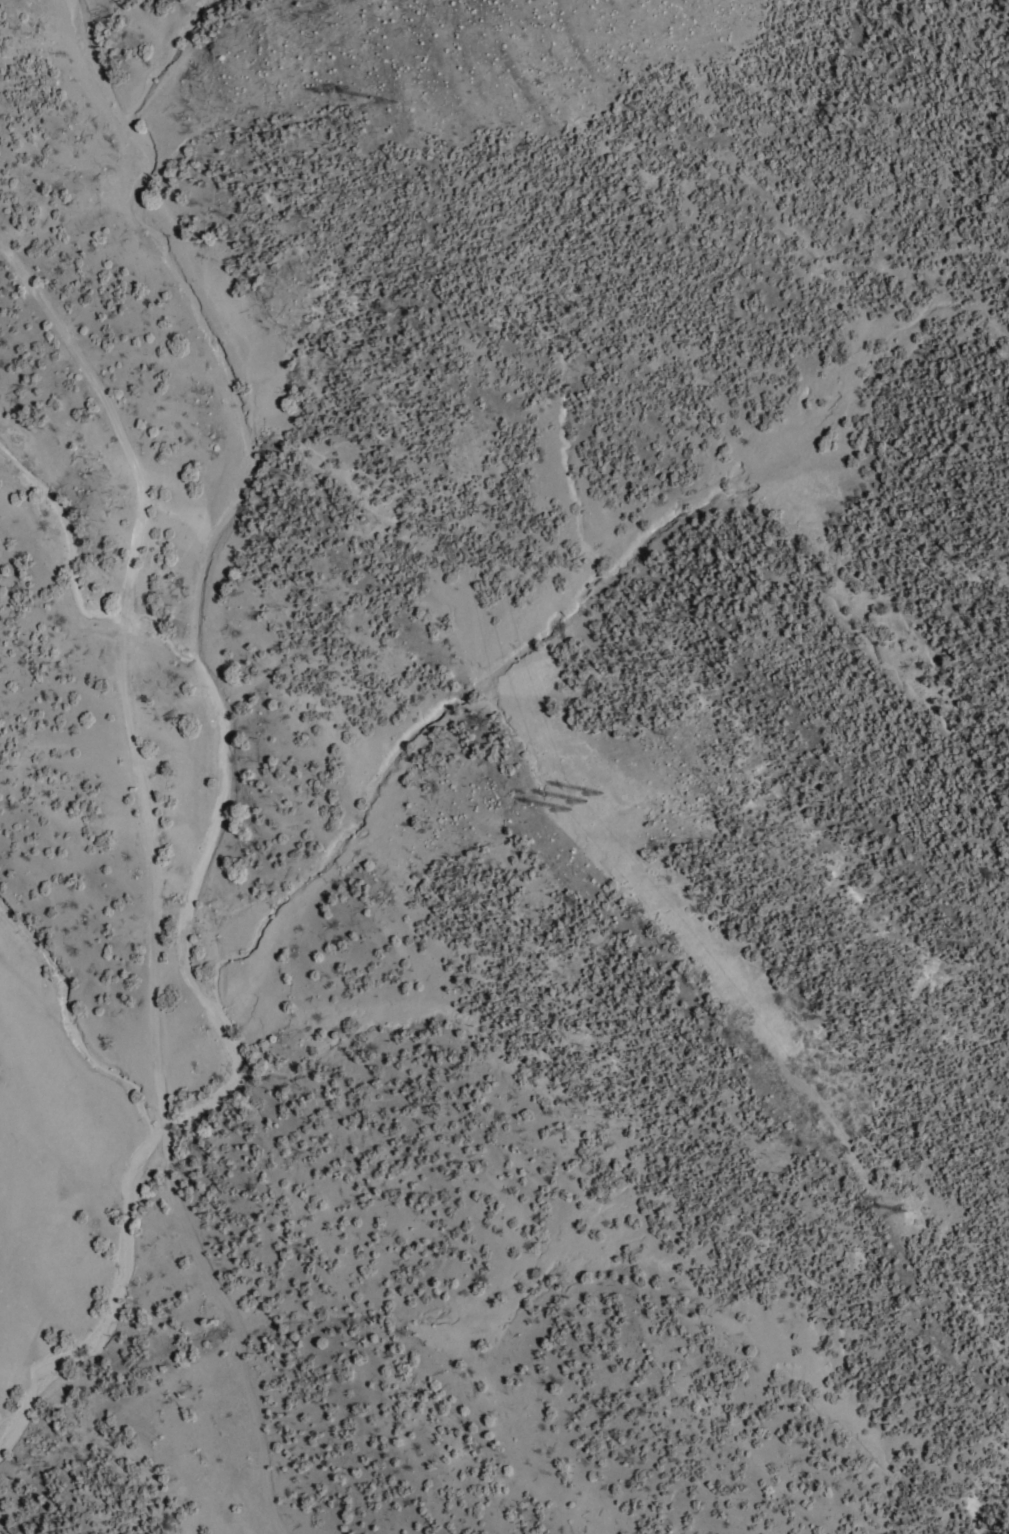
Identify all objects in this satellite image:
power tower: (394, 100)
power tower: (598, 791)
power tower: (580, 798)
power tower: (565, 806)
road: (149, 880)
power tower: (901, 1207)

